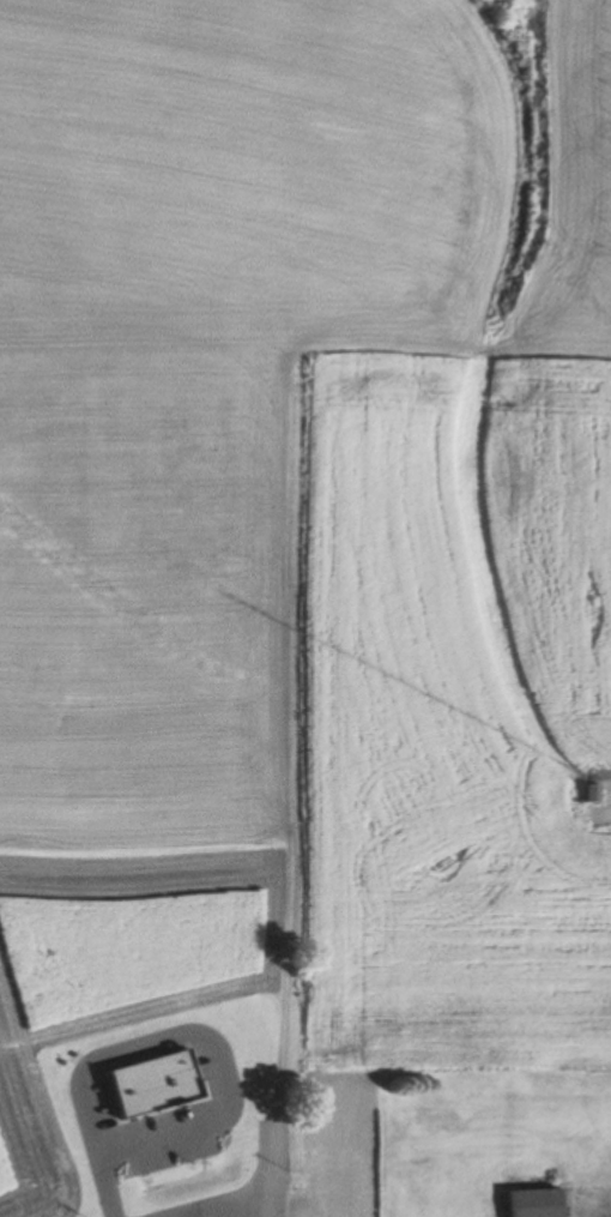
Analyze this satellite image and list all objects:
building: (591, 793)
road: (202, 1031)
road: (272, 1169)
road: (101, 1187)
building: (530, 1203)
road: (260, 1215)

